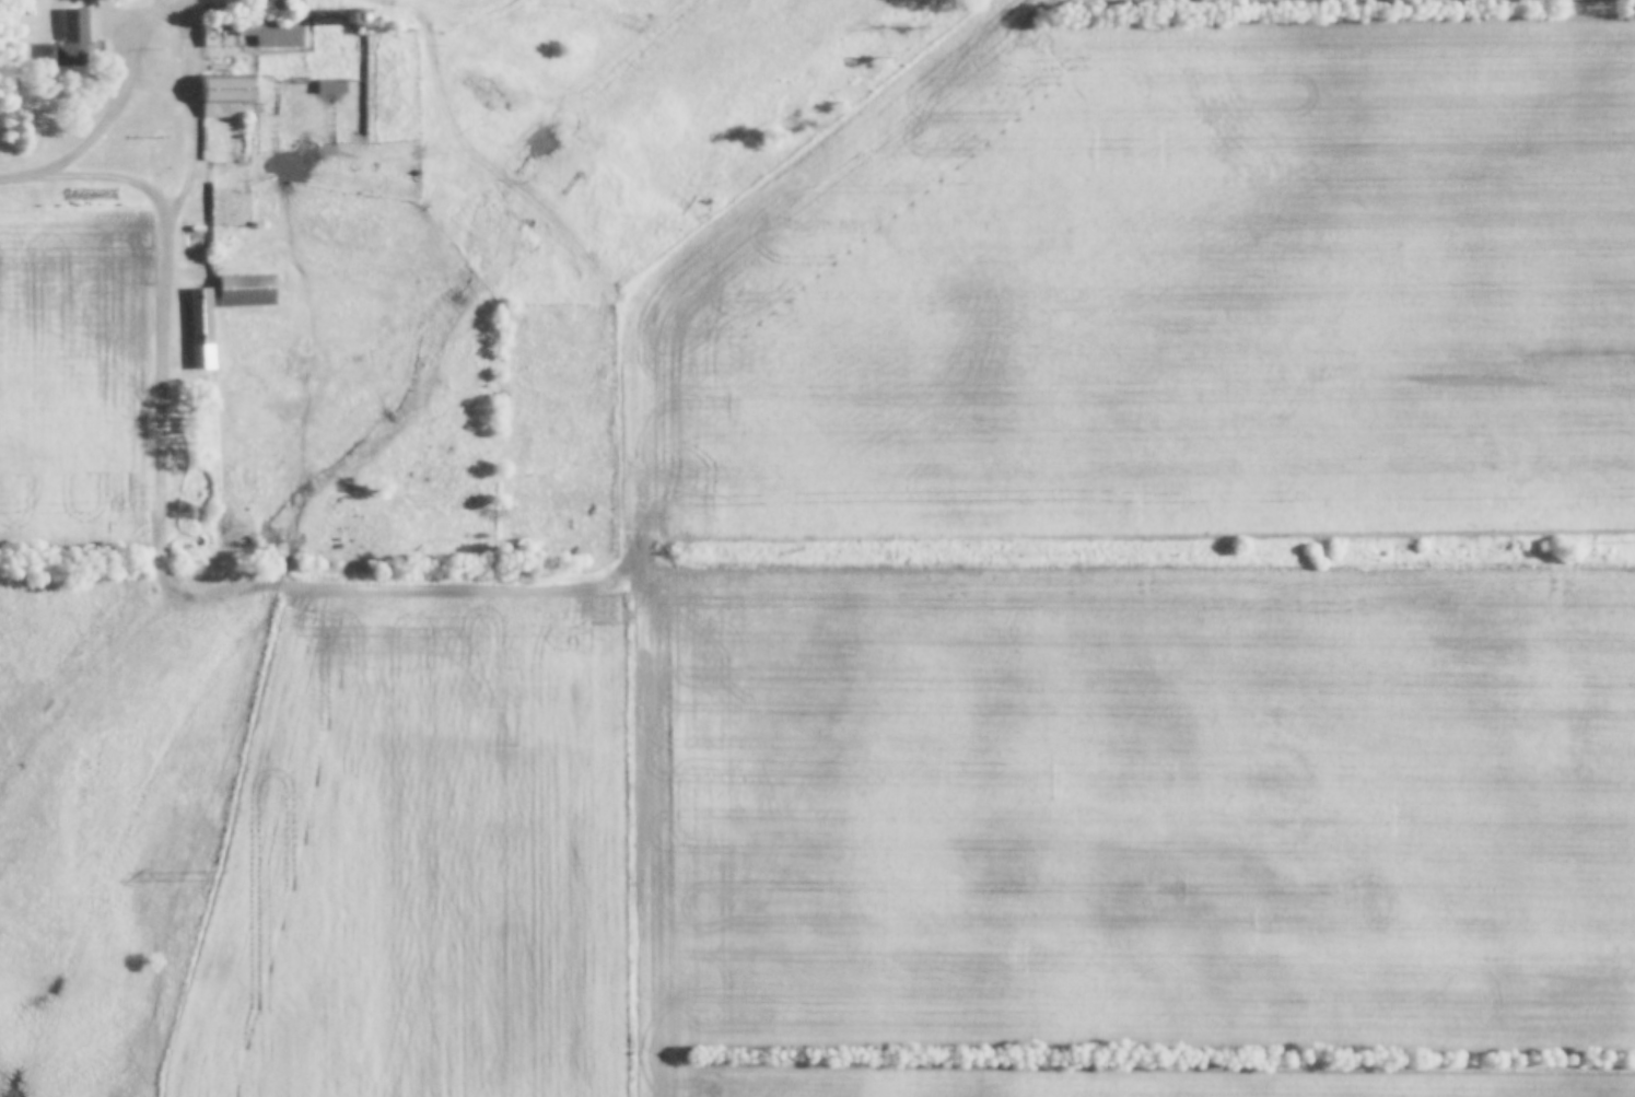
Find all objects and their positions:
road: (387, 0)
power tower: (1587, 3)
building: (359, 20)
building: (275, 32)
building: (73, 39)
building: (332, 86)
building: (229, 96)
road: (118, 112)
building: (248, 291)
building: (201, 325)
road: (167, 552)
power tower: (210, 873)

